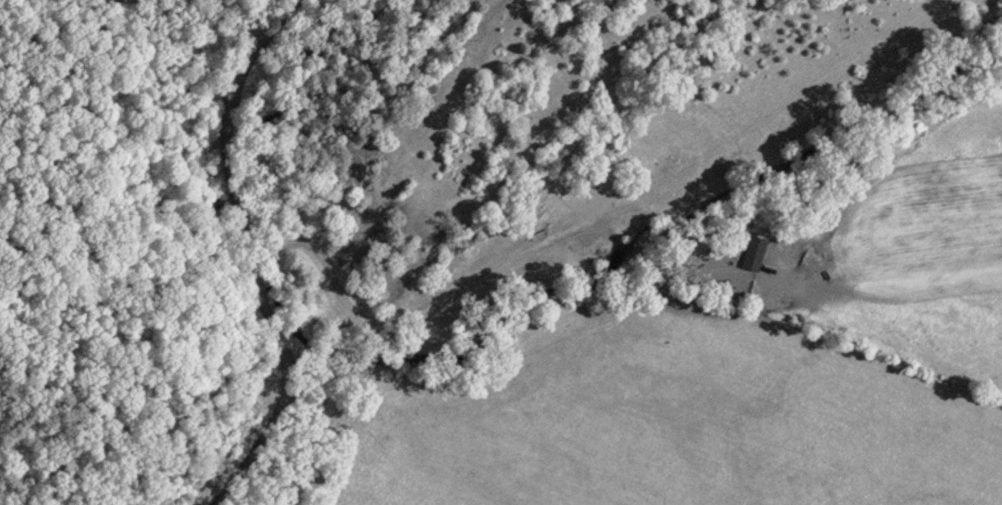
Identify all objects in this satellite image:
road: (252, 256)

